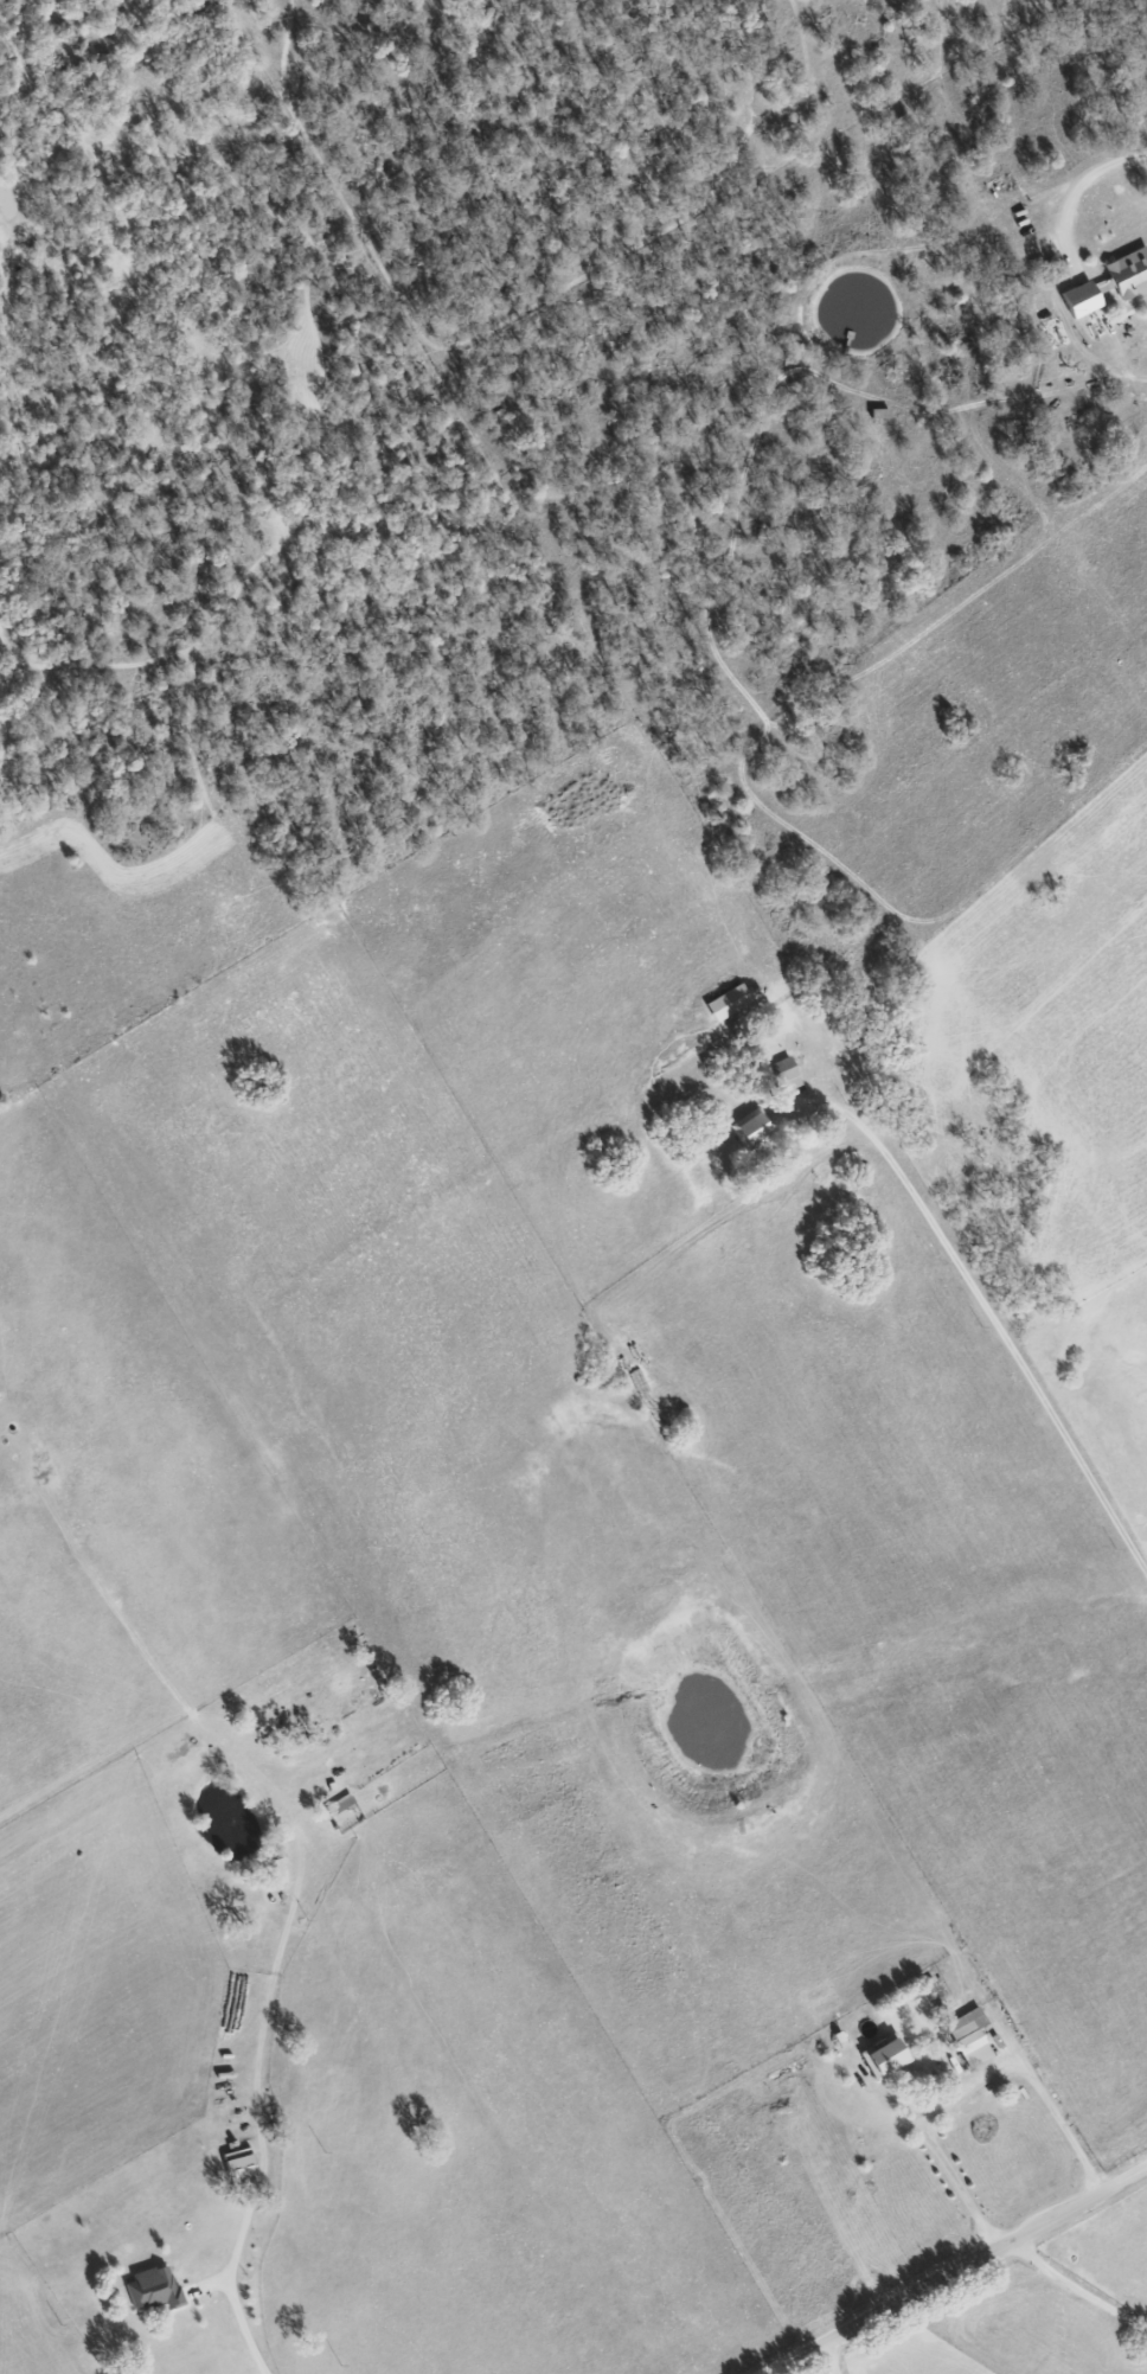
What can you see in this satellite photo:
road: (1107, 164)
building: (1123, 273)
building: (1071, 300)
building: (718, 1003)
building: (776, 1075)
road: (976, 1310)
building: (960, 2037)
building: (877, 2056)
road: (965, 2097)
road: (261, 2157)
building: (233, 2164)
road: (956, 2277)
road: (1081, 2287)
building: (149, 2289)
road: (832, 2355)

